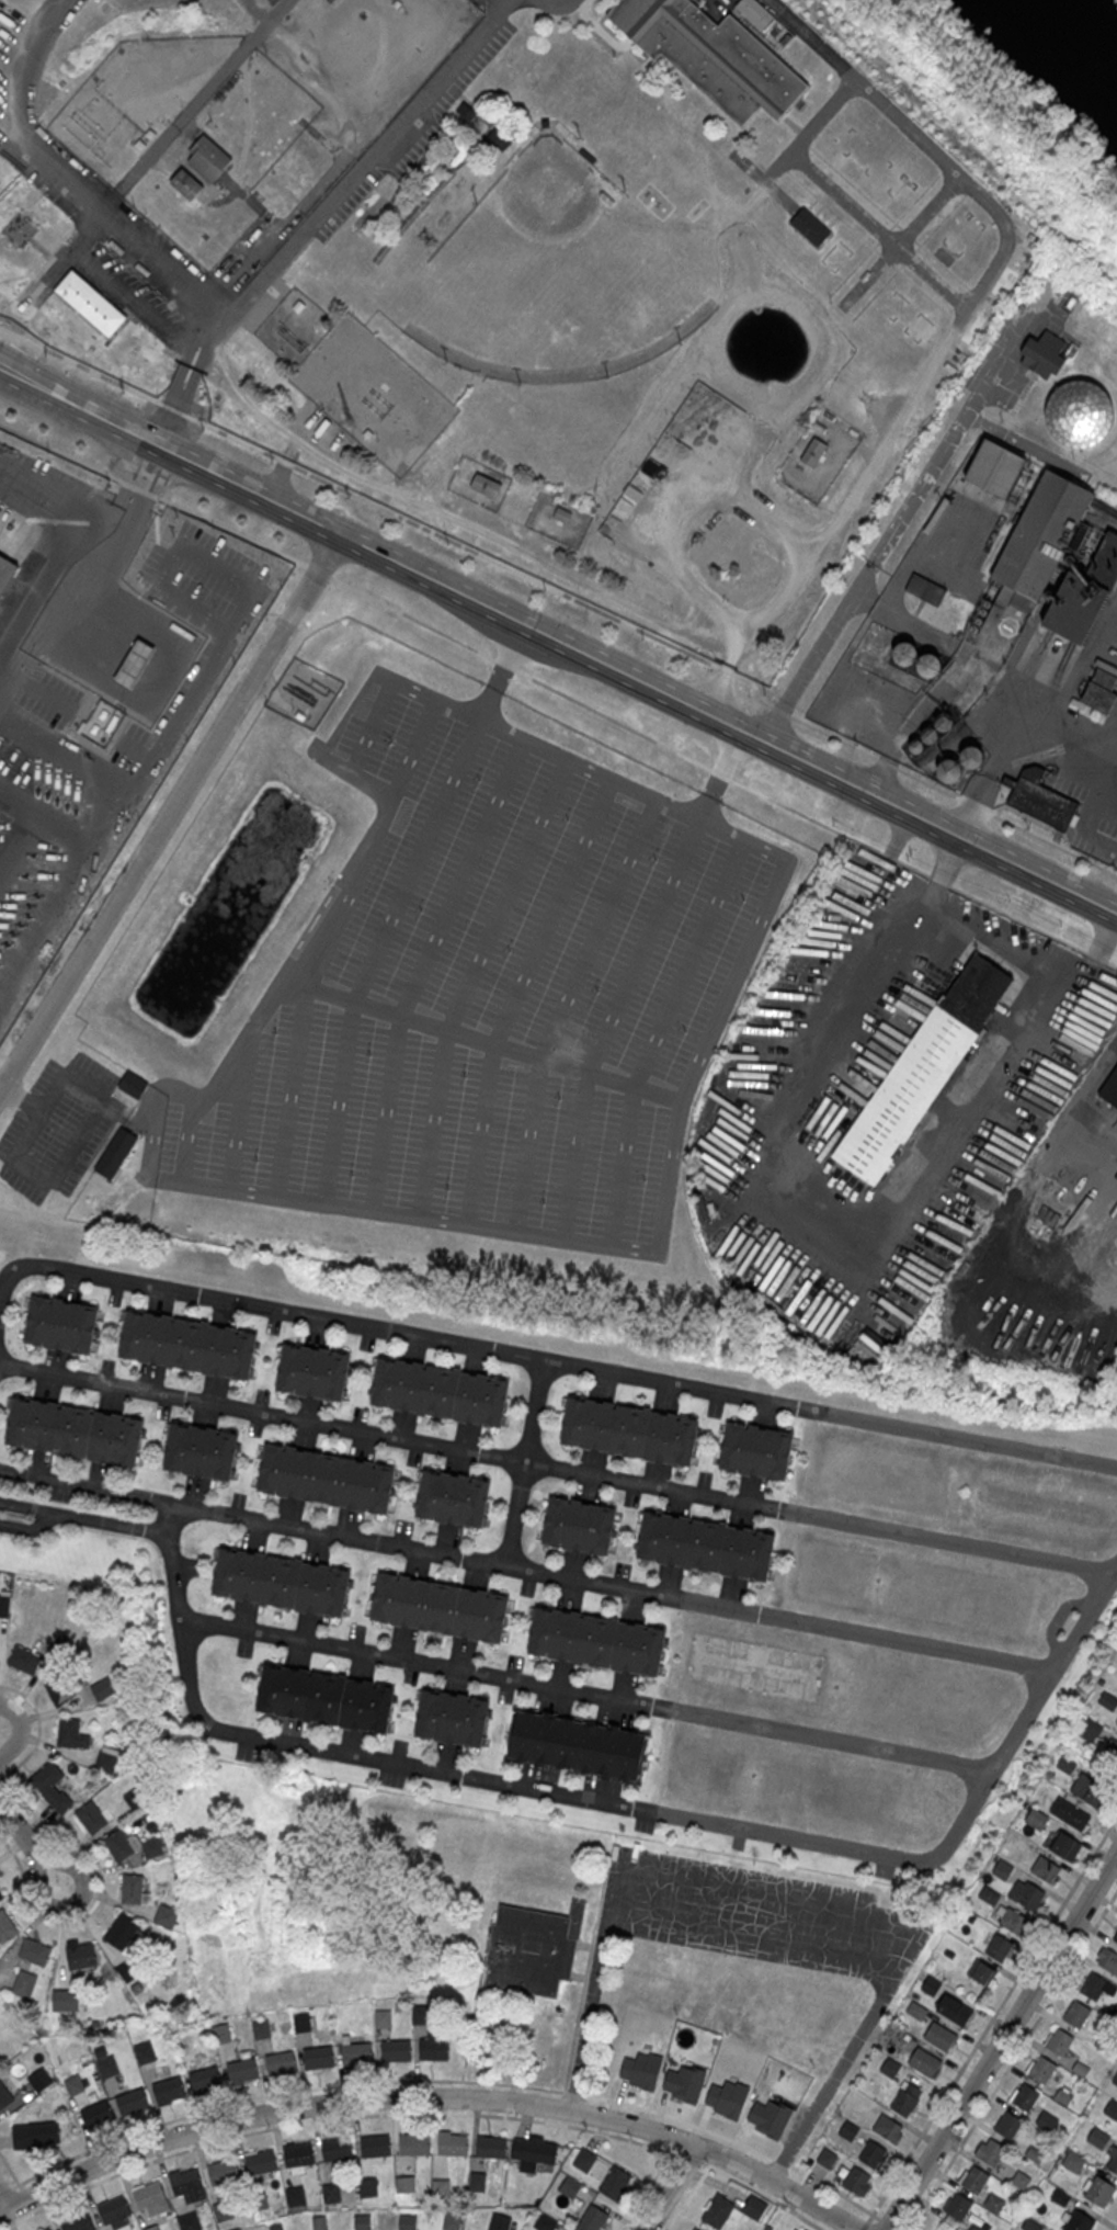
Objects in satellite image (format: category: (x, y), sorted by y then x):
road: (562, 0)
road: (505, 1)
building: (332, 2)
building: (756, 11)
road: (259, 12)
river: (1073, 39)
building: (713, 54)
road: (31, 67)
building: (144, 92)
road: (196, 104)
park: (989, 116)
road: (812, 129)
road: (806, 143)
building: (210, 157)
road: (784, 167)
road: (945, 168)
road: (327, 176)
building: (760, 179)
road: (765, 179)
building: (186, 183)
road: (855, 185)
road: (970, 190)
road: (915, 200)
road: (991, 203)
road: (833, 211)
road: (941, 222)
road: (94, 223)
building: (810, 225)
road: (879, 230)
road: (908, 233)
road: (884, 235)
road: (900, 241)
building: (19, 242)
road: (290, 248)
road: (157, 254)
road: (910, 257)
road: (886, 258)
road: (943, 263)
parking lot: (146, 265)
road: (853, 269)
park: (555, 278)
road: (923, 290)
road: (878, 291)
road: (974, 291)
road: (121, 292)
building: (90, 303)
road: (957, 320)
road: (10, 331)
road: (183, 342)
park: (613, 349)
road: (196, 354)
building: (1044, 354)
road: (90, 369)
road: (173, 407)
building: (1080, 414)
building: (813, 452)
building: (993, 468)
building: (486, 484)
road: (136, 502)
building: (563, 513)
road: (54, 523)
road: (892, 533)
building: (1058, 558)
building: (5, 569)
road: (645, 609)
road: (923, 626)
road: (55, 629)
road: (658, 636)
road: (557, 643)
building: (916, 660)
building: (135, 664)
building: (1101, 689)
road: (558, 692)
road: (1011, 729)
road: (901, 732)
road: (92, 767)
building: (1041, 800)
road: (168, 814)
building: (111, 822)
building: (5, 833)
road: (21, 847)
road: (73, 879)
road: (998, 947)
park: (418, 987)
building: (923, 1069)
building: (134, 1084)
building: (1109, 1089)
road: (102, 1098)
road: (22, 1100)
parking lot: (59, 1128)
building: (117, 1153)
road: (827, 1224)
building: (237, 1239)
building: (60, 1324)
building: (189, 1345)
road: (545, 1360)
building: (314, 1370)
building: (440, 1390)
building: (630, 1430)
building: (75, 1431)
building: (201, 1449)
building: (755, 1450)
road: (524, 1462)
road: (556, 1467)
building: (326, 1478)
road: (87, 1484)
building: (453, 1496)
road: (84, 1516)
building: (578, 1524)
building: (706, 1544)
building: (281, 1581)
road: (614, 1584)
building: (4, 1606)
building: (441, 1606)
building: (597, 1641)
building: (24, 1661)
building: (103, 1688)
building: (60, 1691)
road: (588, 1693)
building: (326, 1697)
building: (1107, 1700)
building: (452, 1717)
building: (1090, 1729)
road: (38, 1730)
road: (19, 1731)
building: (71, 1734)
building: (577, 1744)
building: (1109, 1753)
building: (106, 1758)
building: (1064, 1763)
building: (50, 1787)
building: (1087, 1789)
building: (135, 1800)
road: (629, 1804)
building: (1075, 1816)
building: (92, 1819)
building: (1036, 1819)
road: (20, 1833)
building: (1063, 1844)
building: (119, 1846)
building: (1045, 1868)
building: (1002, 1869)
building: (133, 1890)
road: (768, 1893)
building: (1026, 1893)
road: (100, 1895)
building: (1, 1897)
road: (75, 1904)
building: (166, 1916)
parking lot: (761, 1916)
building: (1013, 1920)
building: (5, 1927)
building: (121, 1932)
road: (757, 1936)
building: (1115, 1937)
building: (533, 1947)
building: (1000, 1948)
building: (35, 1952)
building: (80, 1956)
building: (1107, 1959)
building: (982, 1972)
road: (586, 1974)
building: (24, 1984)
building: (930, 1984)
building: (1093, 1985)
road: (594, 1988)
building: (65, 2001)
building: (915, 2010)
building: (954, 2010)
building: (1076, 2013)
building: (420, 2014)
road: (992, 2017)
building: (384, 2018)
building: (301, 2024)
building: (900, 2036)
building: (941, 2036)
road: (1001, 2039)
building: (1059, 2040)
building: (434, 2049)
building: (397, 2051)
road: (851, 2051)
building: (357, 2054)
building: (318, 2058)
road: (1012, 2058)
building: (924, 2061)
building: (282, 2064)
building: (889, 2067)
building: (107, 2068)
building: (1042, 2069)
building: (242, 2071)
building: (205, 2080)
building: (1116, 2081)
building: (169, 2091)
road: (572, 2093)
road: (272, 2094)
building: (1025, 2096)
building: (4, 2097)
road: (432, 2098)
building: (905, 2098)
building: (727, 2099)
building: (133, 2102)
building: (1113, 2110)
building: (98, 2115)
road: (333, 2118)
building: (770, 2118)
road: (682, 2121)
building: (1046, 2121)
building: (1007, 2124)
building: (887, 2126)
building: (848, 2130)
building: (35, 2135)
building: (1099, 2140)
building: (414, 2144)
building: (453, 2146)
building: (376, 2147)
building: (491, 2148)
building: (989, 2150)
building: (337, 2151)
building: (534, 2151)
building: (873, 2154)
building: (298, 2155)
building: (827, 2158)
road: (691, 2159)
building: (584, 2160)
building: (261, 2162)
building: (1074, 2163)
building: (1113, 2163)
road: (705, 2164)
road: (783, 2166)
road: (11, 2171)
building: (224, 2172)
building: (974, 2178)
building: (857, 2181)
building: (1021, 2181)
building: (186, 2183)
road: (810, 2183)
building: (615, 2184)
building: (406, 2185)
building: (570, 2186)
road: (750, 2186)
building: (368, 2188)
building: (441, 2188)
road: (671, 2188)
road: (646, 2191)
building: (1099, 2191)
road: (24, 2194)
building: (331, 2194)
road: (846, 2197)
building: (296, 2198)
road: (689, 2198)
building: (152, 2199)
road: (4, 2200)
building: (259, 2203)
building: (994, 2205)
building: (958, 2206)
building: (114, 2210)
building: (224, 2211)
building: (717, 2212)
building: (592, 2219)
building: (452, 2220)
road: (806, 2220)
building: (1078, 2221)
building: (190, 2222)
building: (363, 2222)
building: (408, 2222)
building: (499, 2222)
building: (78, 2223)
building: (319, 2223)
building: (978, 2223)
road: (888, 2225)
road: (864, 2226)
building: (943, 2226)
road: (1115, 2227)
building: (155, 2228)
building: (49, 2229)
building: (236, 2229)
building: (695, 2229)
building: (805, 2229)

